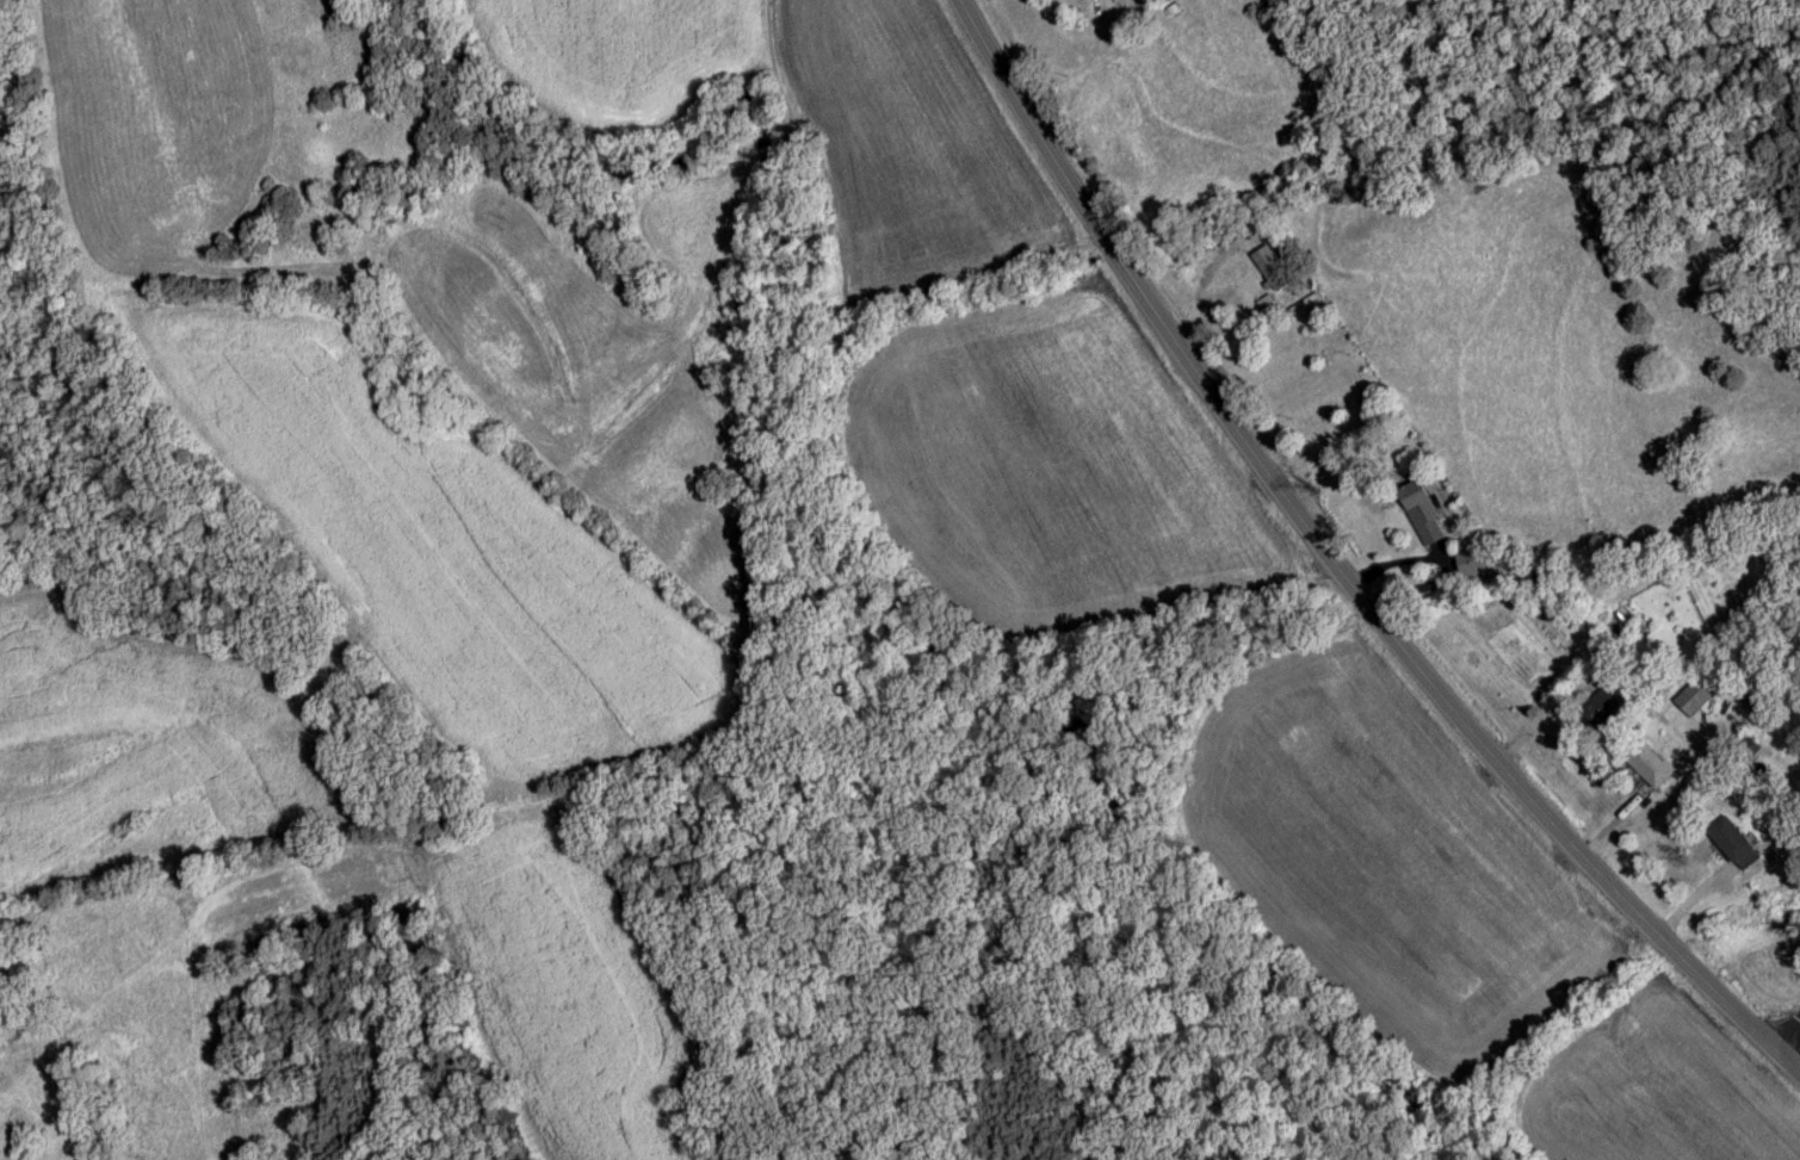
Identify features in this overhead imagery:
building: (1250, 225)
building: (1268, 267)
building: (1422, 515)
road: (1305, 570)
building: (1617, 621)
building: (1695, 696)
building: (1603, 714)
building: (1649, 765)
building: (1734, 845)
road: (1788, 1038)
road: (1788, 1065)

